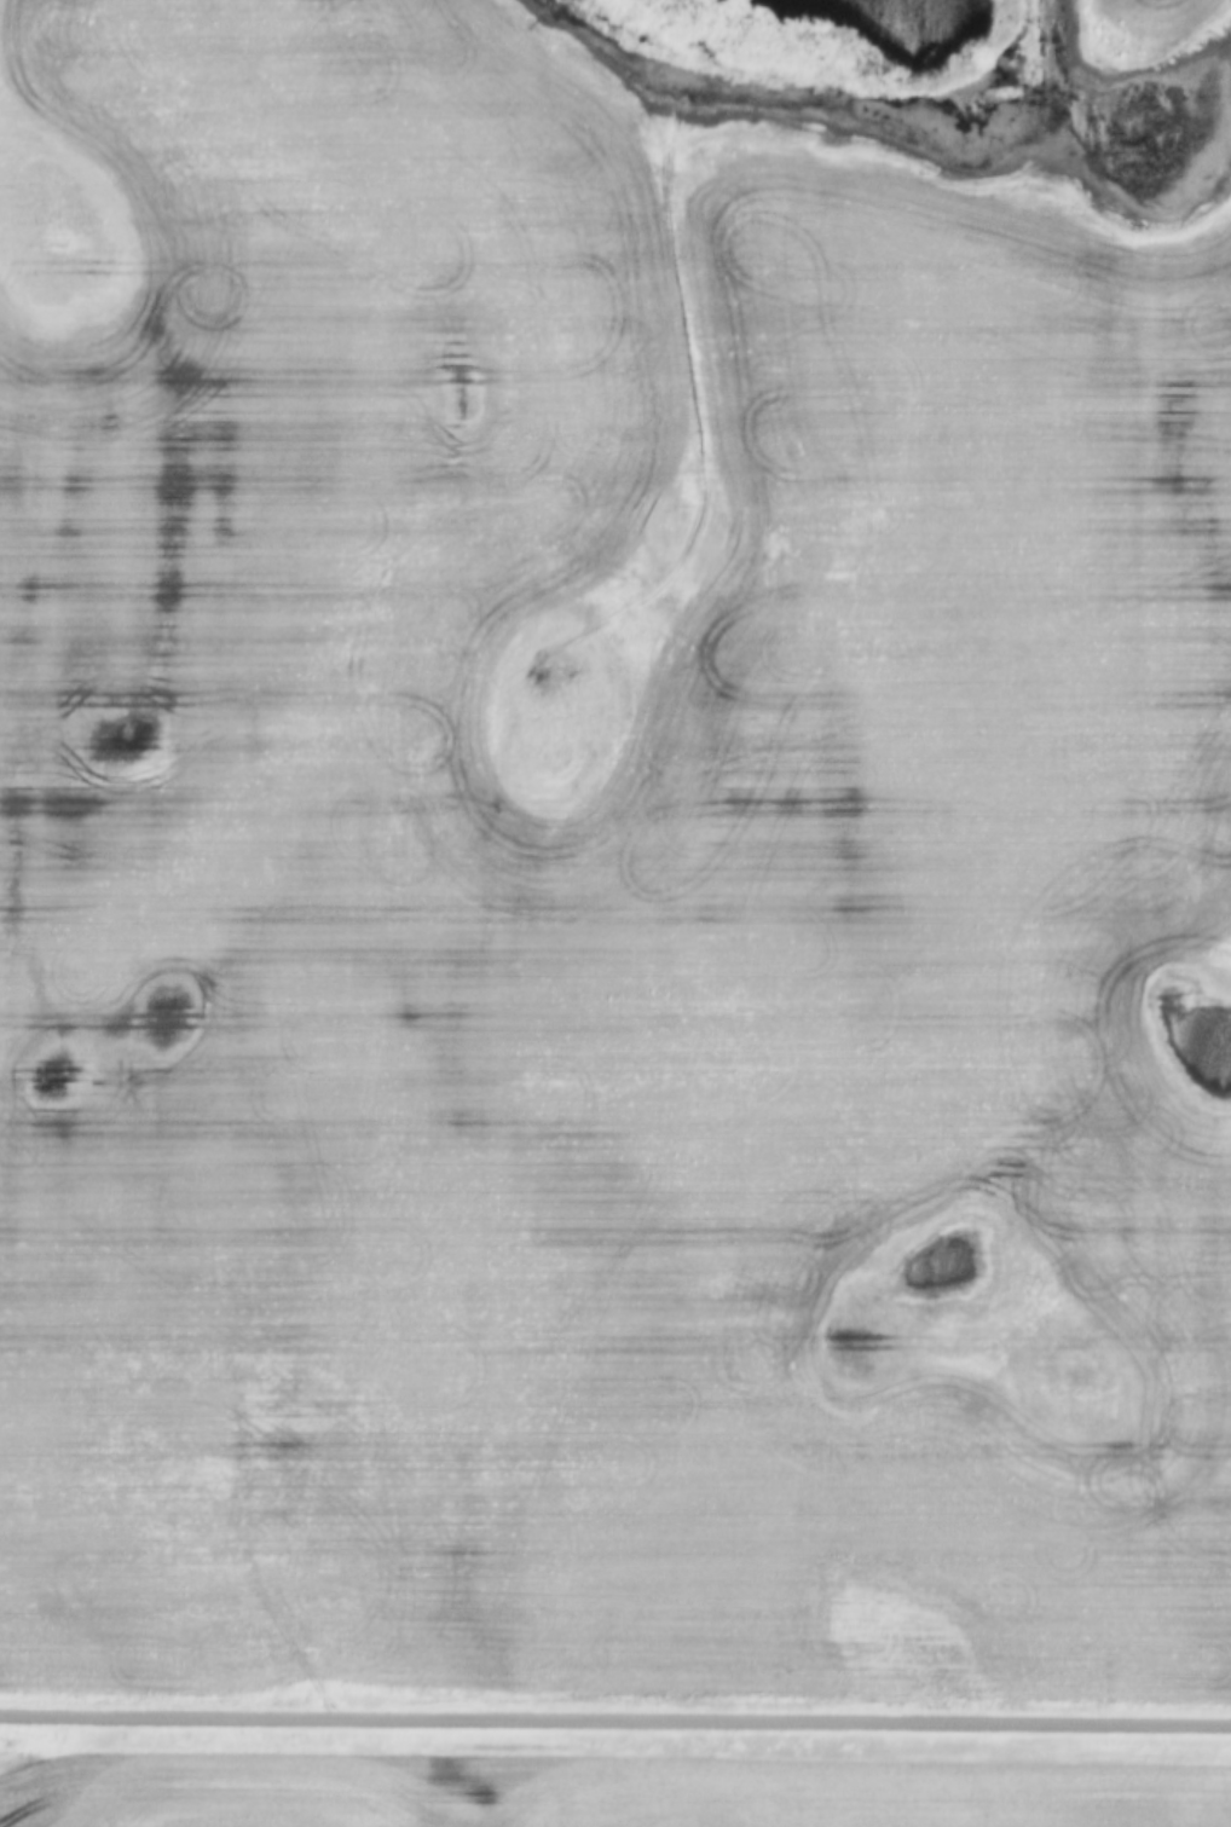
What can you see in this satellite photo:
road: (615, 1729)

